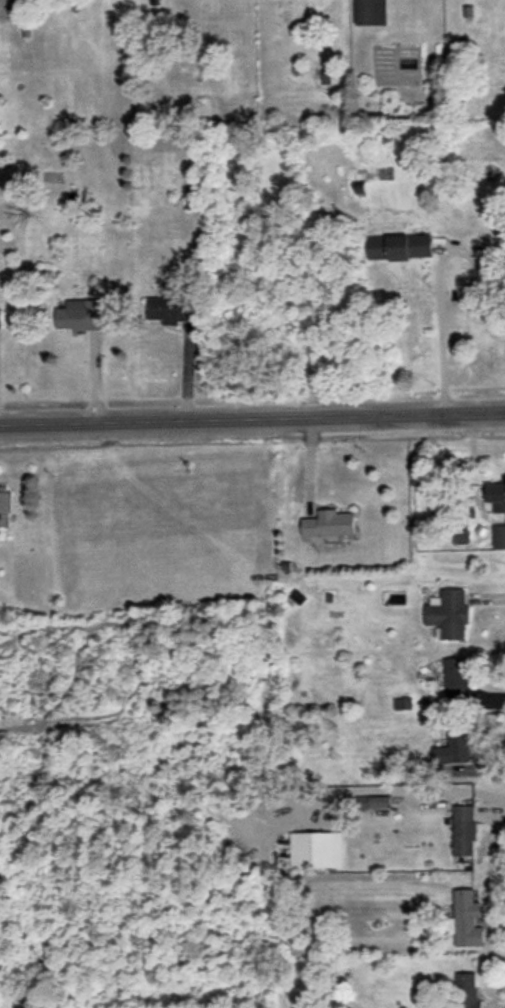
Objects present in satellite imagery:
building: (370, 12)
building: (399, 247)
building: (171, 307)
building: (80, 315)
building: (0, 320)
road: (450, 325)
road: (252, 417)
building: (496, 496)
building: (5, 506)
building: (329, 524)
building: (498, 536)
building: (448, 614)
building: (456, 679)
building: (453, 749)
road: (423, 789)
building: (379, 801)
building: (362, 802)
building: (464, 830)
building: (316, 850)
building: (467, 919)
building: (466, 991)

